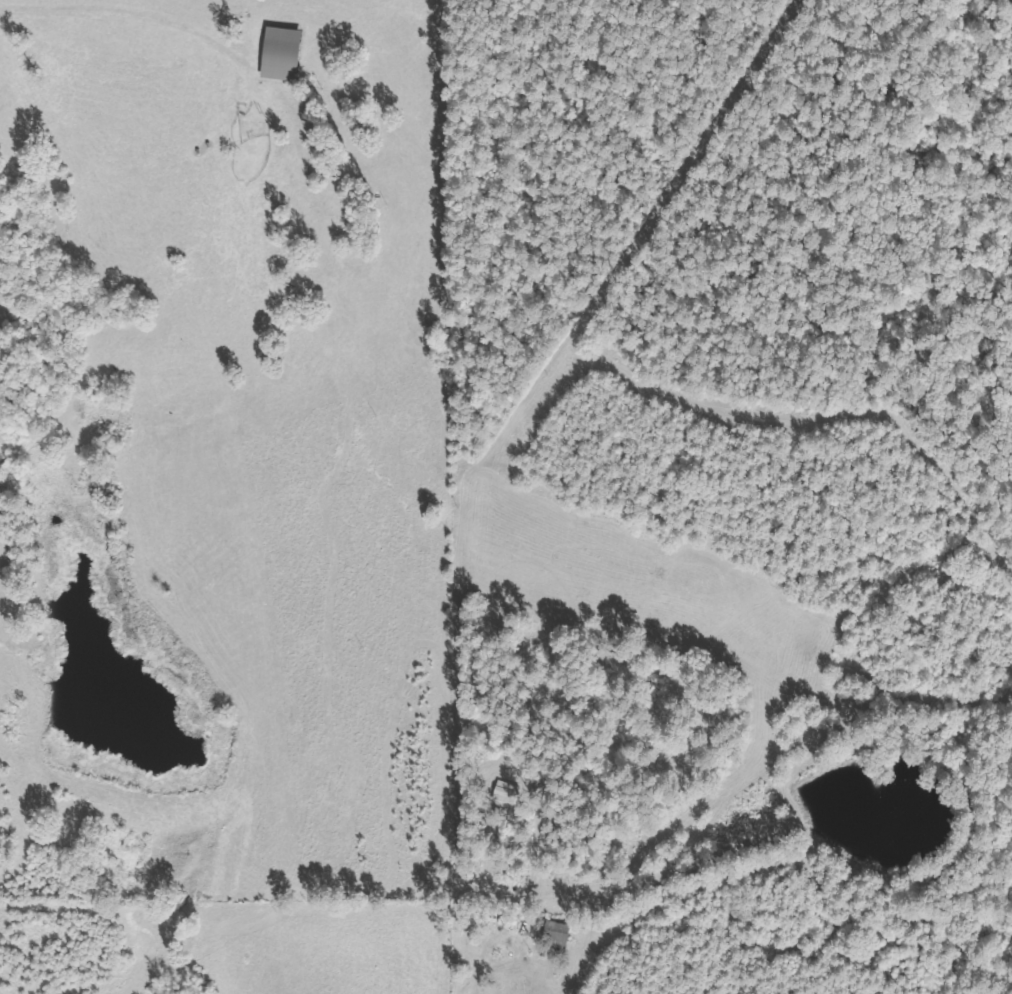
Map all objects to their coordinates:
building: (278, 52)
building: (552, 933)

